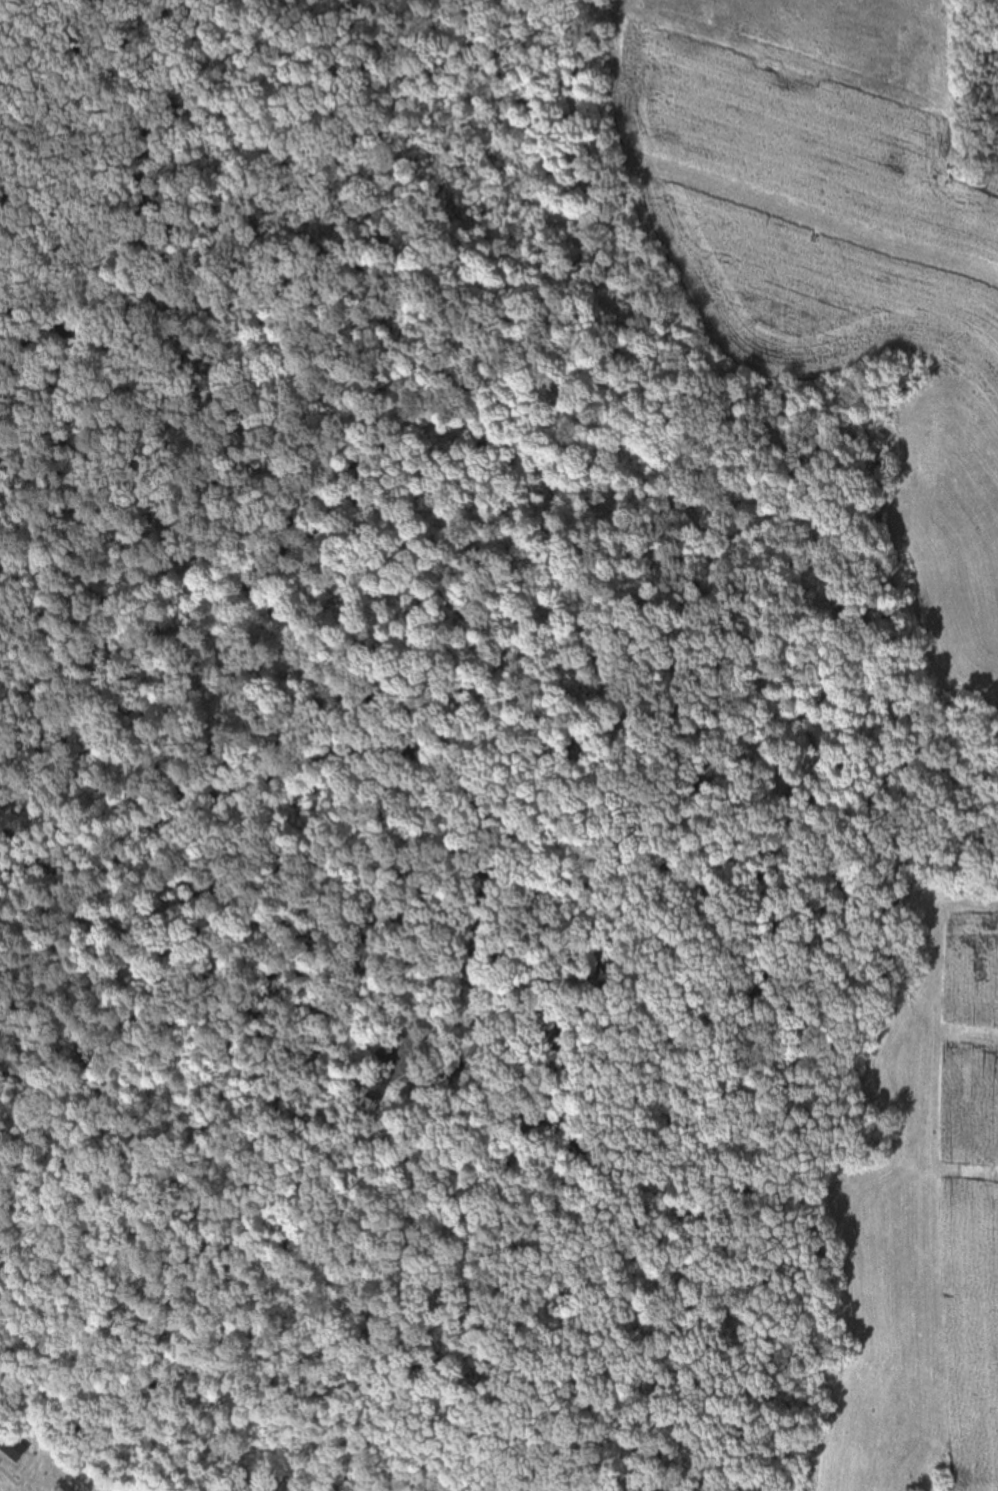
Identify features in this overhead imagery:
road: (830, 489)
road: (267, 594)
road: (583, 746)
road: (420, 760)
parking lot: (398, 1058)
road: (325, 1101)
road: (169, 1410)
building: (11, 1445)
road: (146, 1459)

